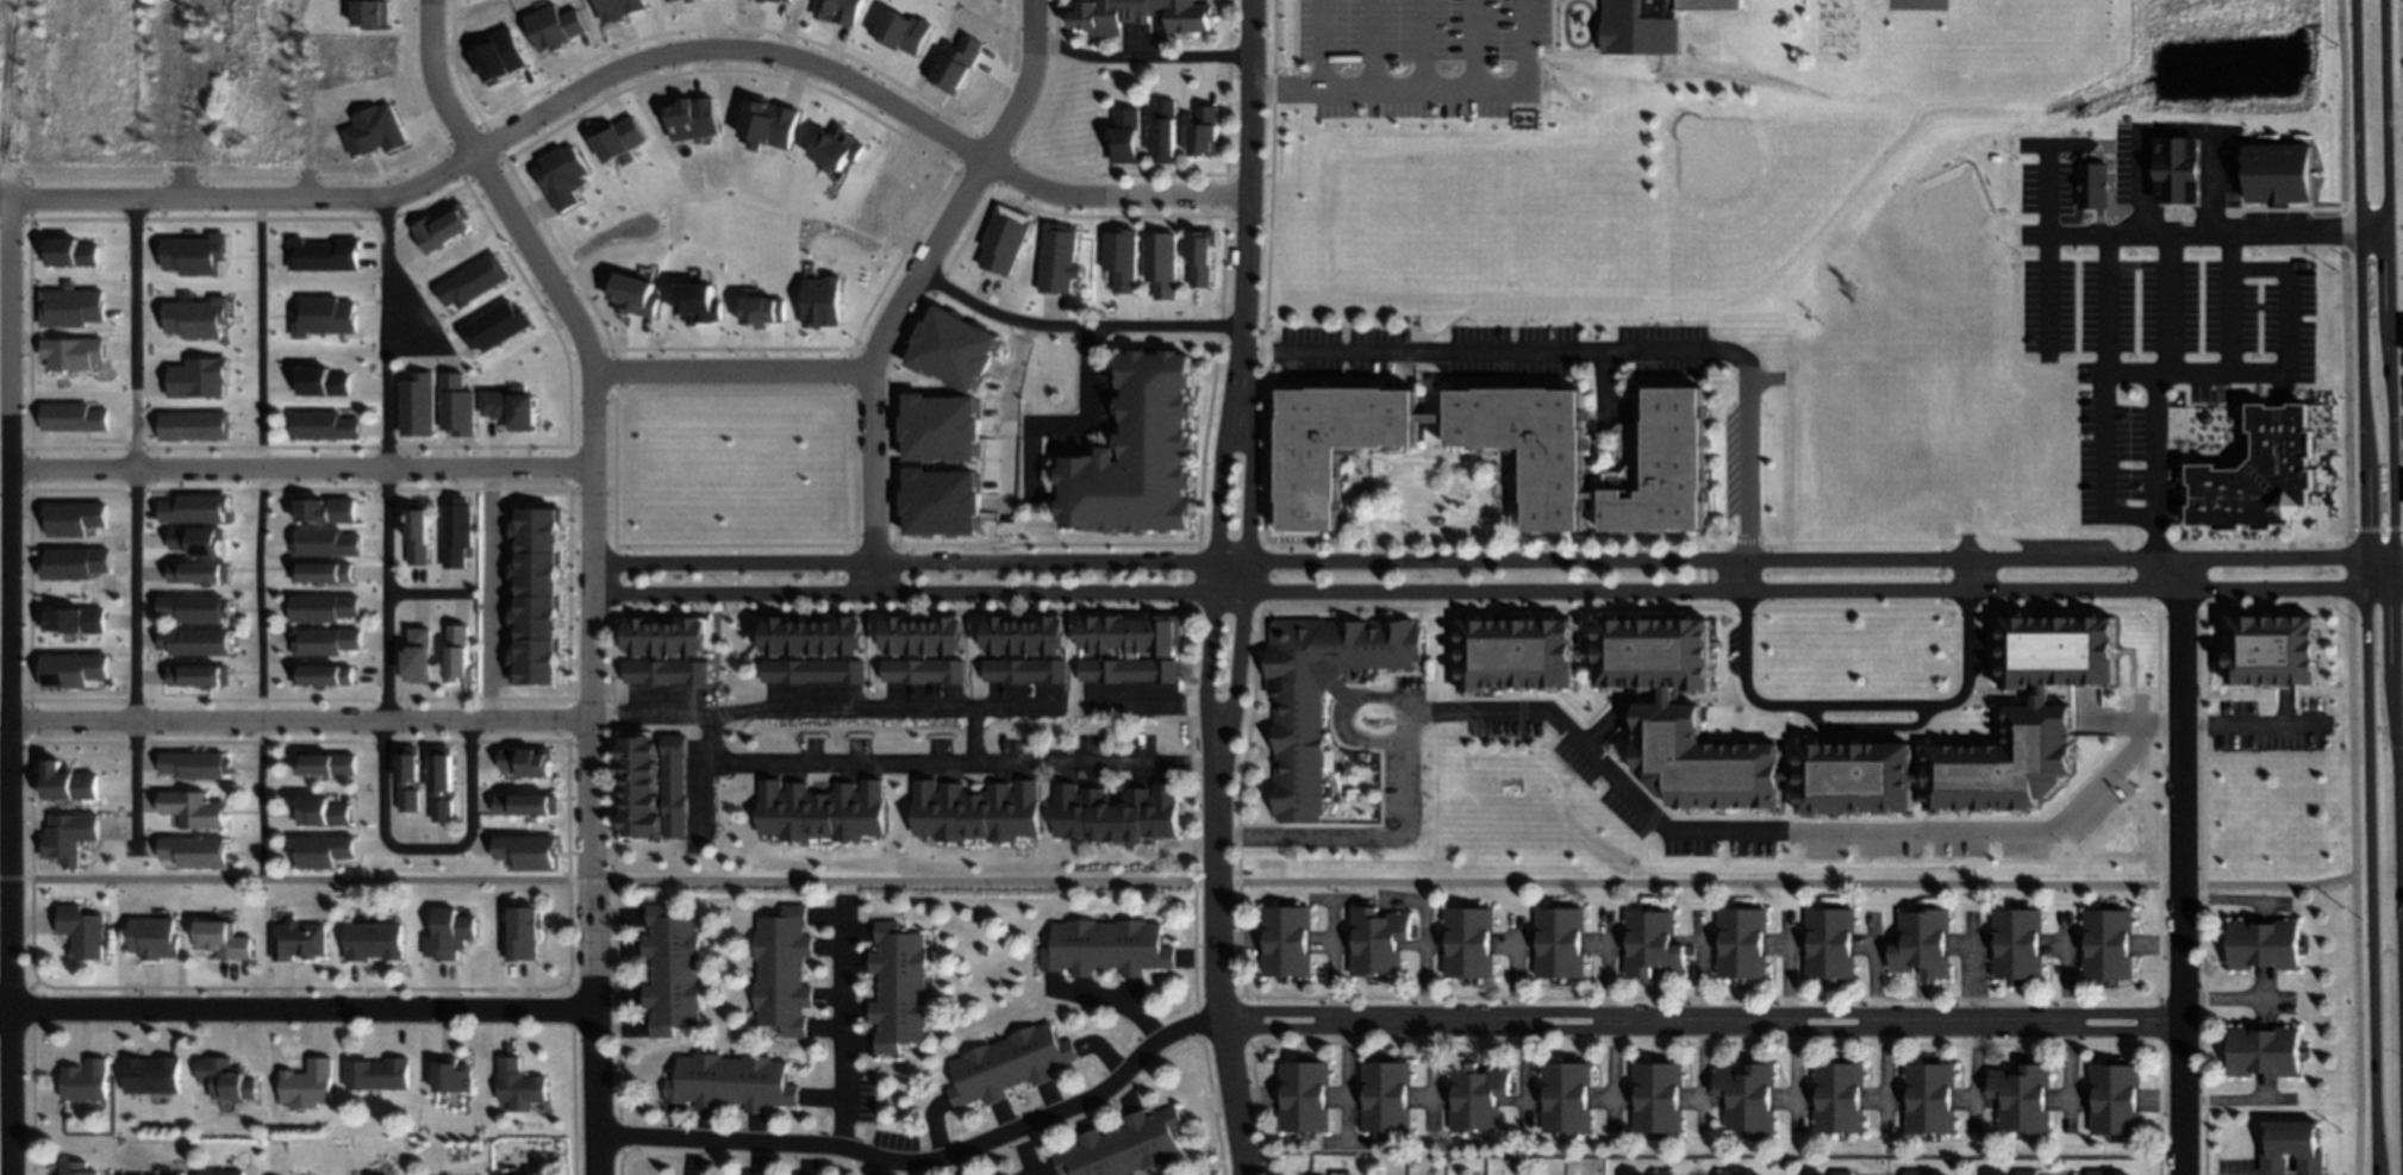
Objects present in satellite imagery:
building: (676, 0)
building: (779, 1)
building: (1715, 4)
building: (620, 8)
building: (840, 12)
building: (370, 13)
building: (1137, 13)
building: (555, 27)
building: (904, 33)
building: (1658, 36)
road: (1321, 44)
road: (729, 52)
building: (499, 57)
road: (1138, 61)
building: (957, 65)
road: (1025, 86)
road: (1467, 87)
road: (1285, 89)
road: (185, 99)
building: (692, 119)
building: (769, 124)
building: (1165, 127)
building: (1205, 129)
building: (374, 132)
building: (1125, 133)
building: (618, 142)
building: (837, 149)
building: (2174, 176)
gas station: (2174, 176)
building: (561, 177)
building: (2276, 179)
building: (2092, 189)
road: (242, 199)
road: (1110, 199)
road: (1243, 206)
road: (951, 220)
building: (441, 230)
road: (2064, 237)
building: (1004, 242)
building: (68, 254)
building: (194, 256)
building: (323, 256)
building: (1059, 260)
building: (1197, 261)
building: (1116, 263)
building: (1157, 268)
road: (2341, 280)
building: (472, 283)
road: (949, 292)
building: (628, 294)
building: (822, 304)
building: (697, 305)
building: (70, 307)
road: (2170, 312)
building: (762, 313)
road: (2287, 317)
building: (323, 318)
building: (195, 319)
building: (494, 327)
road: (1160, 327)
road: (2232, 330)
road: (431, 331)
building: (954, 350)
building: (71, 354)
road: (1594, 354)
road: (2132, 368)
road: (841, 374)
building: (198, 379)
building: (322, 383)
road: (2106, 399)
building: (416, 406)
building: (455, 406)
road: (1003, 407)
building: (508, 410)
road: (1086, 414)
building: (73, 418)
building: (193, 427)
building: (323, 427)
building: (940, 429)
road: (4, 449)
building: (1141, 451)
road: (299, 467)
building: (1664, 468)
building: (2254, 469)
building: (1555, 473)
building: (940, 504)
building: (194, 510)
building: (324, 511)
building: (73, 519)
road: (133, 525)
building: (455, 532)
building: (418, 533)
road: (258, 540)
building: (198, 542)
building: (324, 543)
road: (1215, 561)
road: (1477, 561)
building: (74, 564)
road: (1244, 564)
road: (591, 567)
building: (322, 571)
building: (199, 574)
road: (2397, 574)
road: (2347, 575)
road: (2363, 587)
road: (2391, 587)
road: (1509, 592)
road: (492, 593)
road: (7, 595)
building: (533, 598)
building: (326, 605)
building: (196, 606)
building: (73, 621)
road: (386, 631)
building: (894, 632)
building: (956, 632)
building: (998, 632)
building: (1018, 632)
building: (1060, 632)
building: (773, 633)
building: (850, 633)
building: (915, 633)
building: (1040, 633)
building: (792, 635)
building: (935, 635)
building: (631, 636)
building: (694, 636)
building: (811, 636)
building: (828, 636)
building: (653, 637)
building: (672, 637)
building: (327, 638)
building: (196, 639)
road: (4, 642)
building: (1131, 645)
building: (2053, 646)
building: (1654, 650)
building: (1515, 651)
building: (460, 652)
building: (419, 655)
building: (2261, 655)
road: (4, 658)
building: (1030, 669)
building: (75, 671)
building: (814, 671)
building: (925, 671)
building: (664, 673)
building: (324, 674)
building: (200, 675)
road: (1852, 706)
road: (1149, 712)
road: (298, 719)
road: (647, 720)
road: (2246, 725)
road: (1862, 735)
road: (2351, 736)
building: (656, 746)
building: (326, 758)
building: (528, 760)
building: (1697, 760)
building: (2002, 761)
building: (1298, 762)
building: (198, 763)
building: (408, 764)
building: (657, 765)
building: (443, 769)
road: (759, 775)
building: (1856, 779)
building: (674, 783)
building: (69, 785)
building: (657, 785)
building: (410, 796)
building: (529, 802)
building: (657, 804)
building: (443, 806)
building: (196, 807)
building: (320, 808)
building: (978, 810)
building: (823, 811)
building: (1116, 811)
road: (1642, 811)
building: (656, 825)
building: (69, 838)
building: (196, 848)
building: (530, 849)
building: (320, 850)
road: (2176, 867)
road: (1176, 883)
building: (82, 931)
building: (447, 932)
building: (522, 932)
building: (154, 936)
building: (223, 937)
building: (1286, 938)
building: (1377, 938)
building: (298, 939)
building: (373, 939)
building: (1468, 939)
building: (1742, 939)
building: (1560, 940)
building: (1653, 940)
building: (1831, 940)
building: (1923, 940)
building: (2018, 942)
building: (2108, 942)
building: (2264, 942)
road: (1212, 943)
building: (1105, 944)
road: (1331, 965)
building: (672, 969)
building: (782, 969)
building: (899, 985)
road: (1112, 999)
road: (2233, 1000)
road: (295, 1010)
road: (1697, 1021)
road: (841, 1025)
road: (2354, 1027)
building: (2265, 1049)
building: (1007, 1062)
building: (150, 1071)
building: (376, 1073)
building: (451, 1074)
building: (225, 1077)
building: (85, 1079)
building: (517, 1080)
building: (730, 1080)
building: (306, 1083)
building: (1303, 1093)
building: (1385, 1093)
building: (1930, 1093)
building: (1477, 1094)
building: (1566, 1094)
building: (1656, 1094)
building: (1748, 1094)
building: (1839, 1094)
building: (2023, 1094)
building: (2115, 1096)
building: (1121, 1144)
building: (2291, 1145)
road: (923, 1163)
building: (76, 1168)
building: (221, 1171)
building: (1664, 1171)
building: (1728, 1171)
building: (2026, 1171)
building: (2098, 1171)
building: (1004, 1173)
building: (1842, 1173)
building: (1923, 1173)
building: (151, 1174)
building: (517, 1174)
building: (744, 1174)
building: (754, 1174)
building: (2001, 1174)

